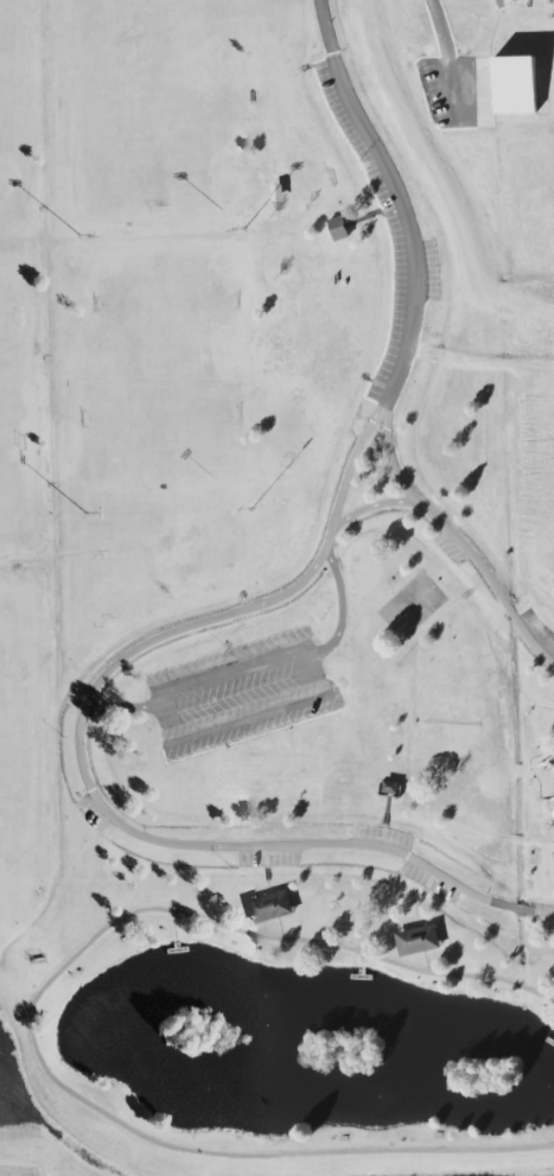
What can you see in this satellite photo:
road: (496, 18)
building: (514, 84)
parking lot: (332, 87)
parking lot: (383, 190)
road: (400, 198)
road: (376, 211)
road: (368, 215)
road: (354, 222)
building: (338, 228)
parking lot: (426, 268)
parking lot: (390, 362)
road: (369, 506)
parking lot: (453, 547)
park: (276, 587)
road: (472, 587)
road: (466, 593)
road: (497, 616)
road: (338, 617)
road: (147, 640)
parking lot: (543, 646)
road: (221, 670)
parking lot: (235, 682)
road: (409, 689)
road: (233, 700)
road: (122, 706)
building: (390, 787)
road: (386, 802)
parking lot: (91, 812)
road: (383, 818)
road: (382, 826)
road: (469, 827)
parking lot: (382, 840)
parking lot: (267, 856)
road: (265, 867)
road: (265, 873)
parking lot: (429, 882)
road: (422, 891)
road: (420, 897)
building: (269, 907)
road: (272, 908)
road: (173, 924)
road: (418, 936)
building: (418, 940)
pier: (173, 945)
pier: (174, 949)
road: (361, 960)
pier: (359, 972)
pier: (359, 978)
road: (26, 1018)
pier: (548, 1042)
pier: (553, 1043)

